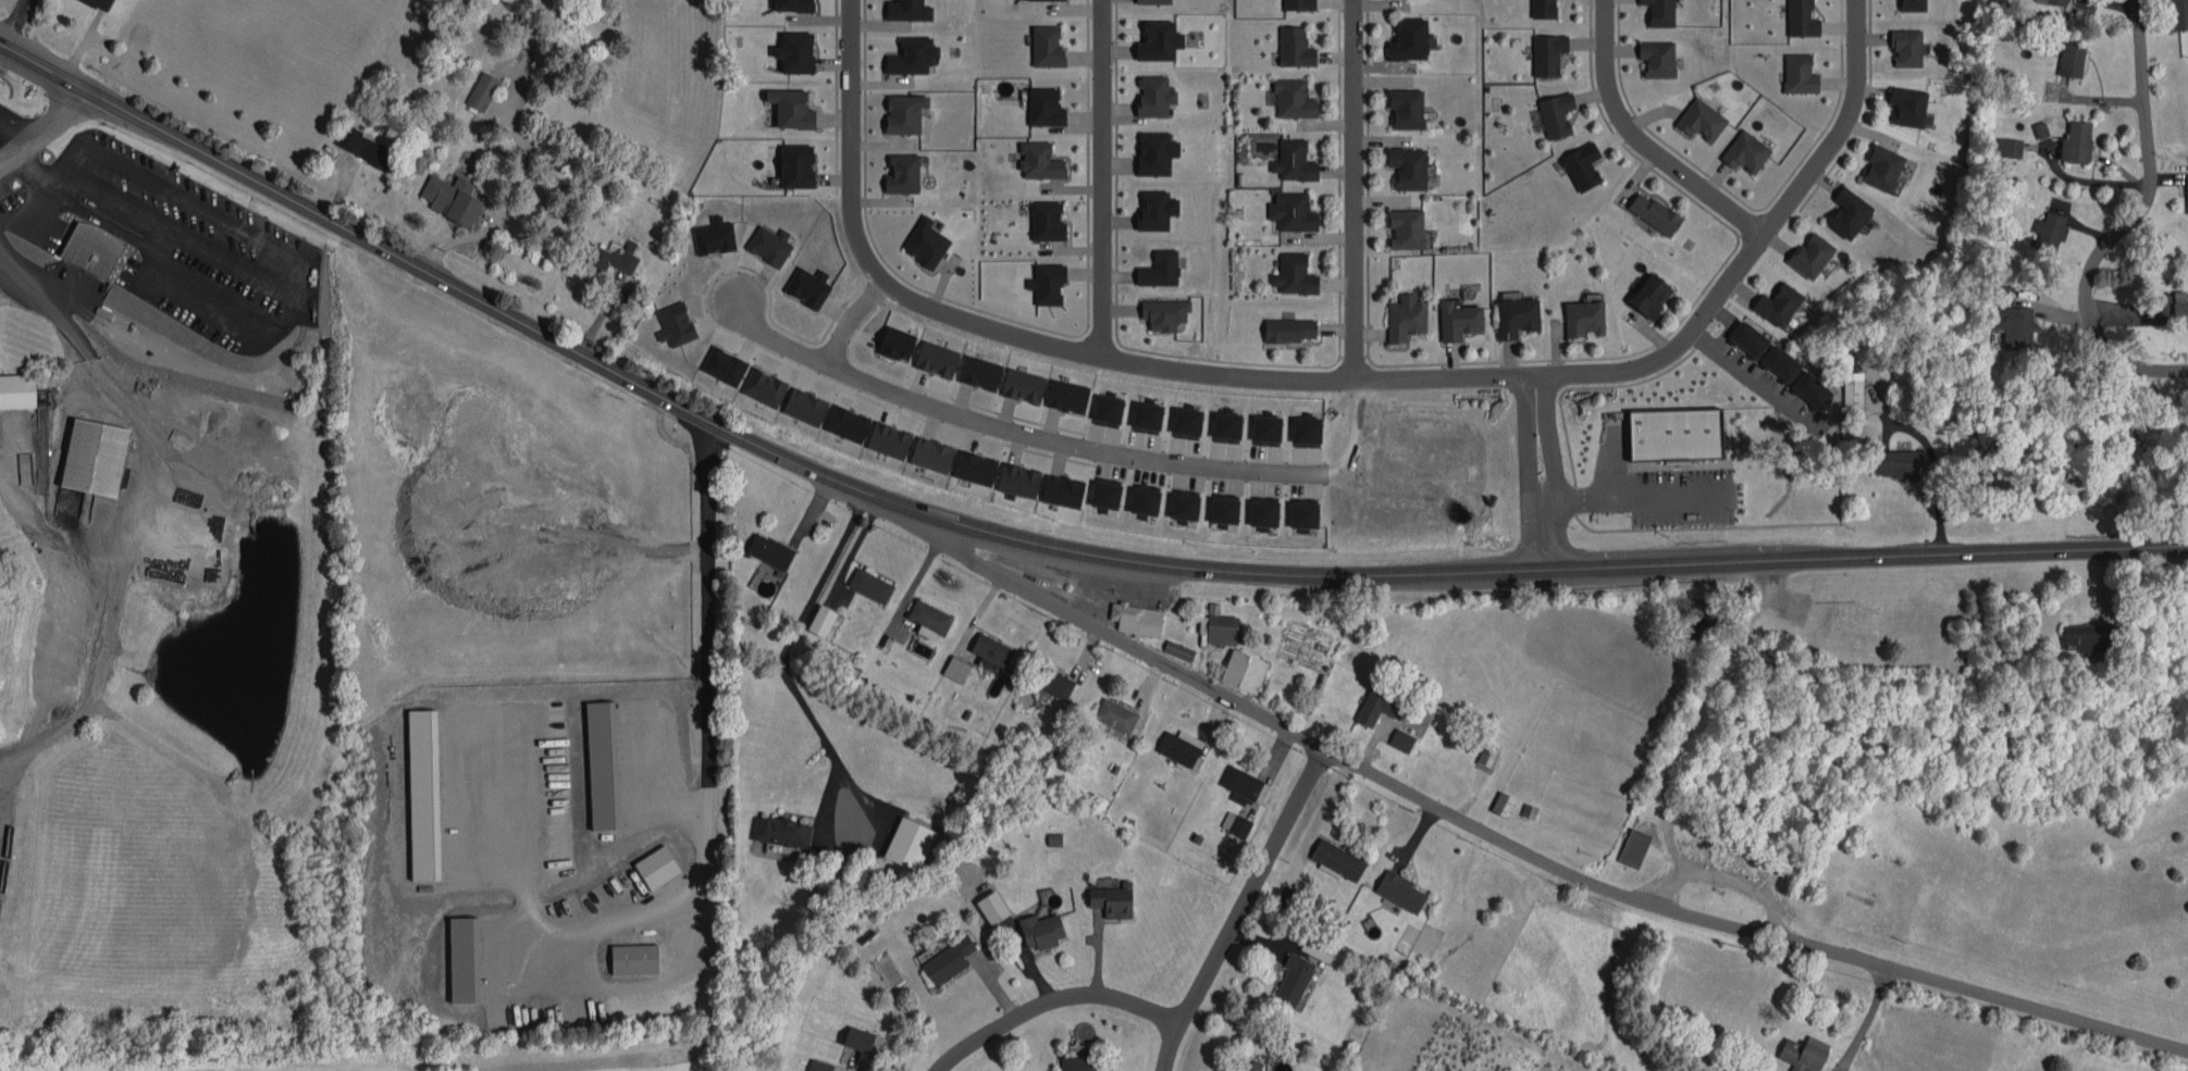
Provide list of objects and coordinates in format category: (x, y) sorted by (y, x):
building: (1148, 0)
building: (2054, 0)
building: (789, 3)
building: (1295, 3)
building: (1909, 3)
building: (100, 4)
building: (1540, 7)
building: (905, 8)
building: (1657, 11)
building: (2177, 12)
building: (1798, 17)
road: (10, 21)
building: (1406, 37)
building: (1154, 38)
building: (1043, 43)
building: (1903, 43)
building: (1290, 45)
building: (792, 49)
building: (1544, 51)
building: (908, 52)
building: (1654, 55)
building: (2067, 57)
building: (1795, 71)
building: (478, 88)
building: (1150, 94)
building: (1290, 96)
building: (1906, 103)
building: (1041, 104)
building: (1404, 105)
building: (788, 107)
road: (54, 109)
building: (901, 111)
building: (1553, 112)
building: (1697, 117)
building: (344, 133)
road: (26, 135)
building: (2073, 139)
building: (2004, 144)
road: (1635, 147)
building: (371, 149)
building: (1152, 149)
building: (1742, 149)
building: (1036, 158)
building: (1290, 158)
building: (793, 162)
building: (1405, 164)
building: (1579, 164)
building: (1879, 164)
building: (900, 171)
road: (1091, 178)
road: (1349, 189)
building: (2185, 190)
building: (448, 194)
road: (507, 199)
road: (24, 201)
building: (1148, 208)
building: (1288, 209)
building: (1845, 210)
building: (1652, 211)
building: (1043, 217)
road: (1778, 219)
road: (2126, 224)
building: (1402, 226)
building: (2047, 229)
building: (922, 238)
building: (89, 247)
building: (606, 252)
building: (1808, 252)
road: (226, 258)
building: (1155, 266)
road: (301, 271)
road: (40, 272)
building: (1290, 272)
building: (1043, 281)
building: (1647, 294)
building: (1775, 302)
building: (2178, 306)
building: (1161, 311)
building: (1513, 314)
building: (1402, 315)
building: (1581, 315)
building: (1455, 317)
building: (1285, 326)
building: (1745, 336)
building: (892, 338)
road: (767, 341)
building: (932, 353)
road: (1091, 356)
building: (1778, 361)
building: (976, 369)
building: (1019, 381)
building: (15, 386)
building: (1808, 387)
building: (1849, 390)
building: (1064, 391)
road: (337, 398)
building: (801, 402)
building: (1104, 404)
building: (1144, 411)
building: (1184, 416)
building: (843, 419)
building: (1223, 421)
building: (1263, 425)
building: (1303, 425)
building: (1672, 432)
building: (885, 435)
building: (928, 450)
road: (1071, 450)
building: (90, 451)
building: (1895, 460)
building: (971, 463)
road: (1536, 470)
building: (1014, 475)
building: (1059, 486)
building: (1102, 489)
road: (1633, 494)
building: (1141, 496)
building: (1182, 501)
building: (1221, 506)
building: (1261, 508)
building: (1300, 510)
road: (1036, 541)
building: (766, 547)
building: (866, 581)
building: (926, 614)
building: (1133, 614)
building: (818, 617)
building: (1215, 624)
building: (1174, 646)
building: (991, 648)
road: (275, 651)
road: (783, 655)
building: (952, 665)
building: (1240, 667)
road: (429, 700)
building: (1374, 702)
building: (1112, 711)
building: (1398, 736)
building: (1176, 743)
building: (1237, 781)
building: (778, 827)
building: (905, 839)
building: (1629, 844)
road: (1532, 852)
building: (1335, 855)
building: (653, 862)
road: (1722, 873)
building: (1397, 887)
building: (1110, 896)
road: (1240, 907)
building: (1037, 926)
building: (630, 955)
building: (944, 956)
building: (1289, 975)
road: (1053, 1000)
road: (1865, 1019)
building: (855, 1034)
building: (1800, 1053)
building: (1074, 1061)
building: (815, 1063)
building: (1243, 1063)

